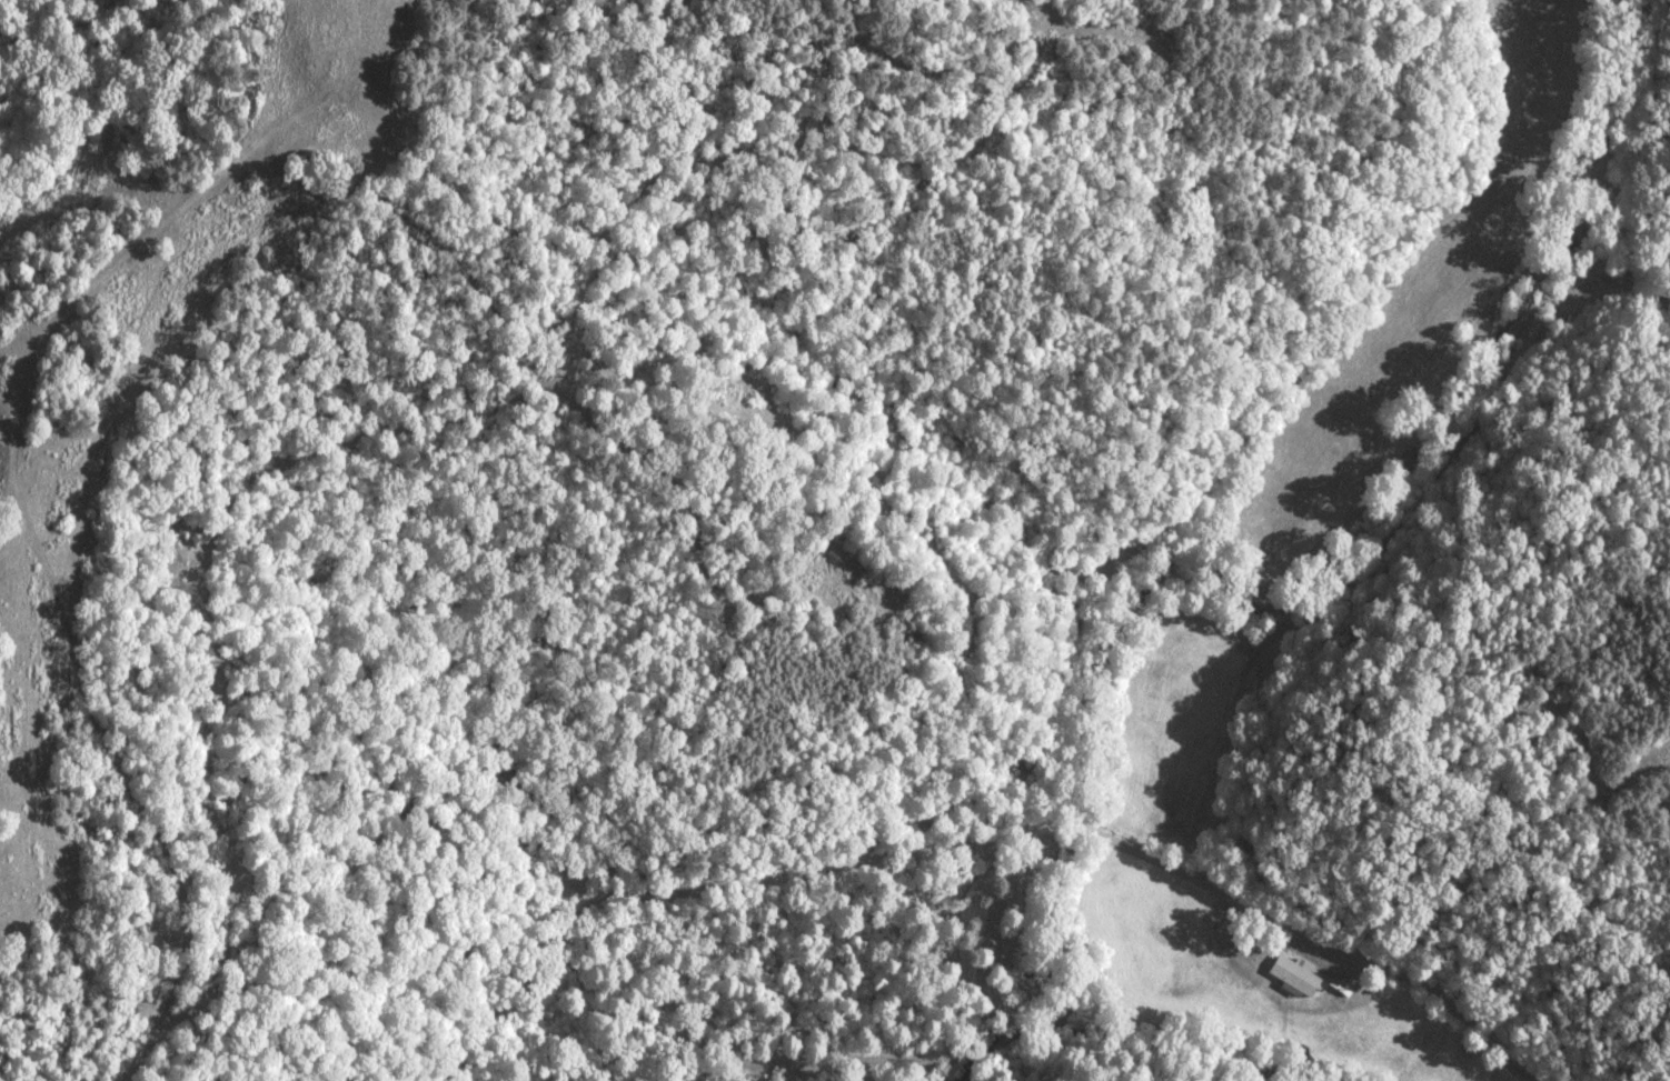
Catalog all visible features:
road: (958, 857)
building: (1299, 972)

